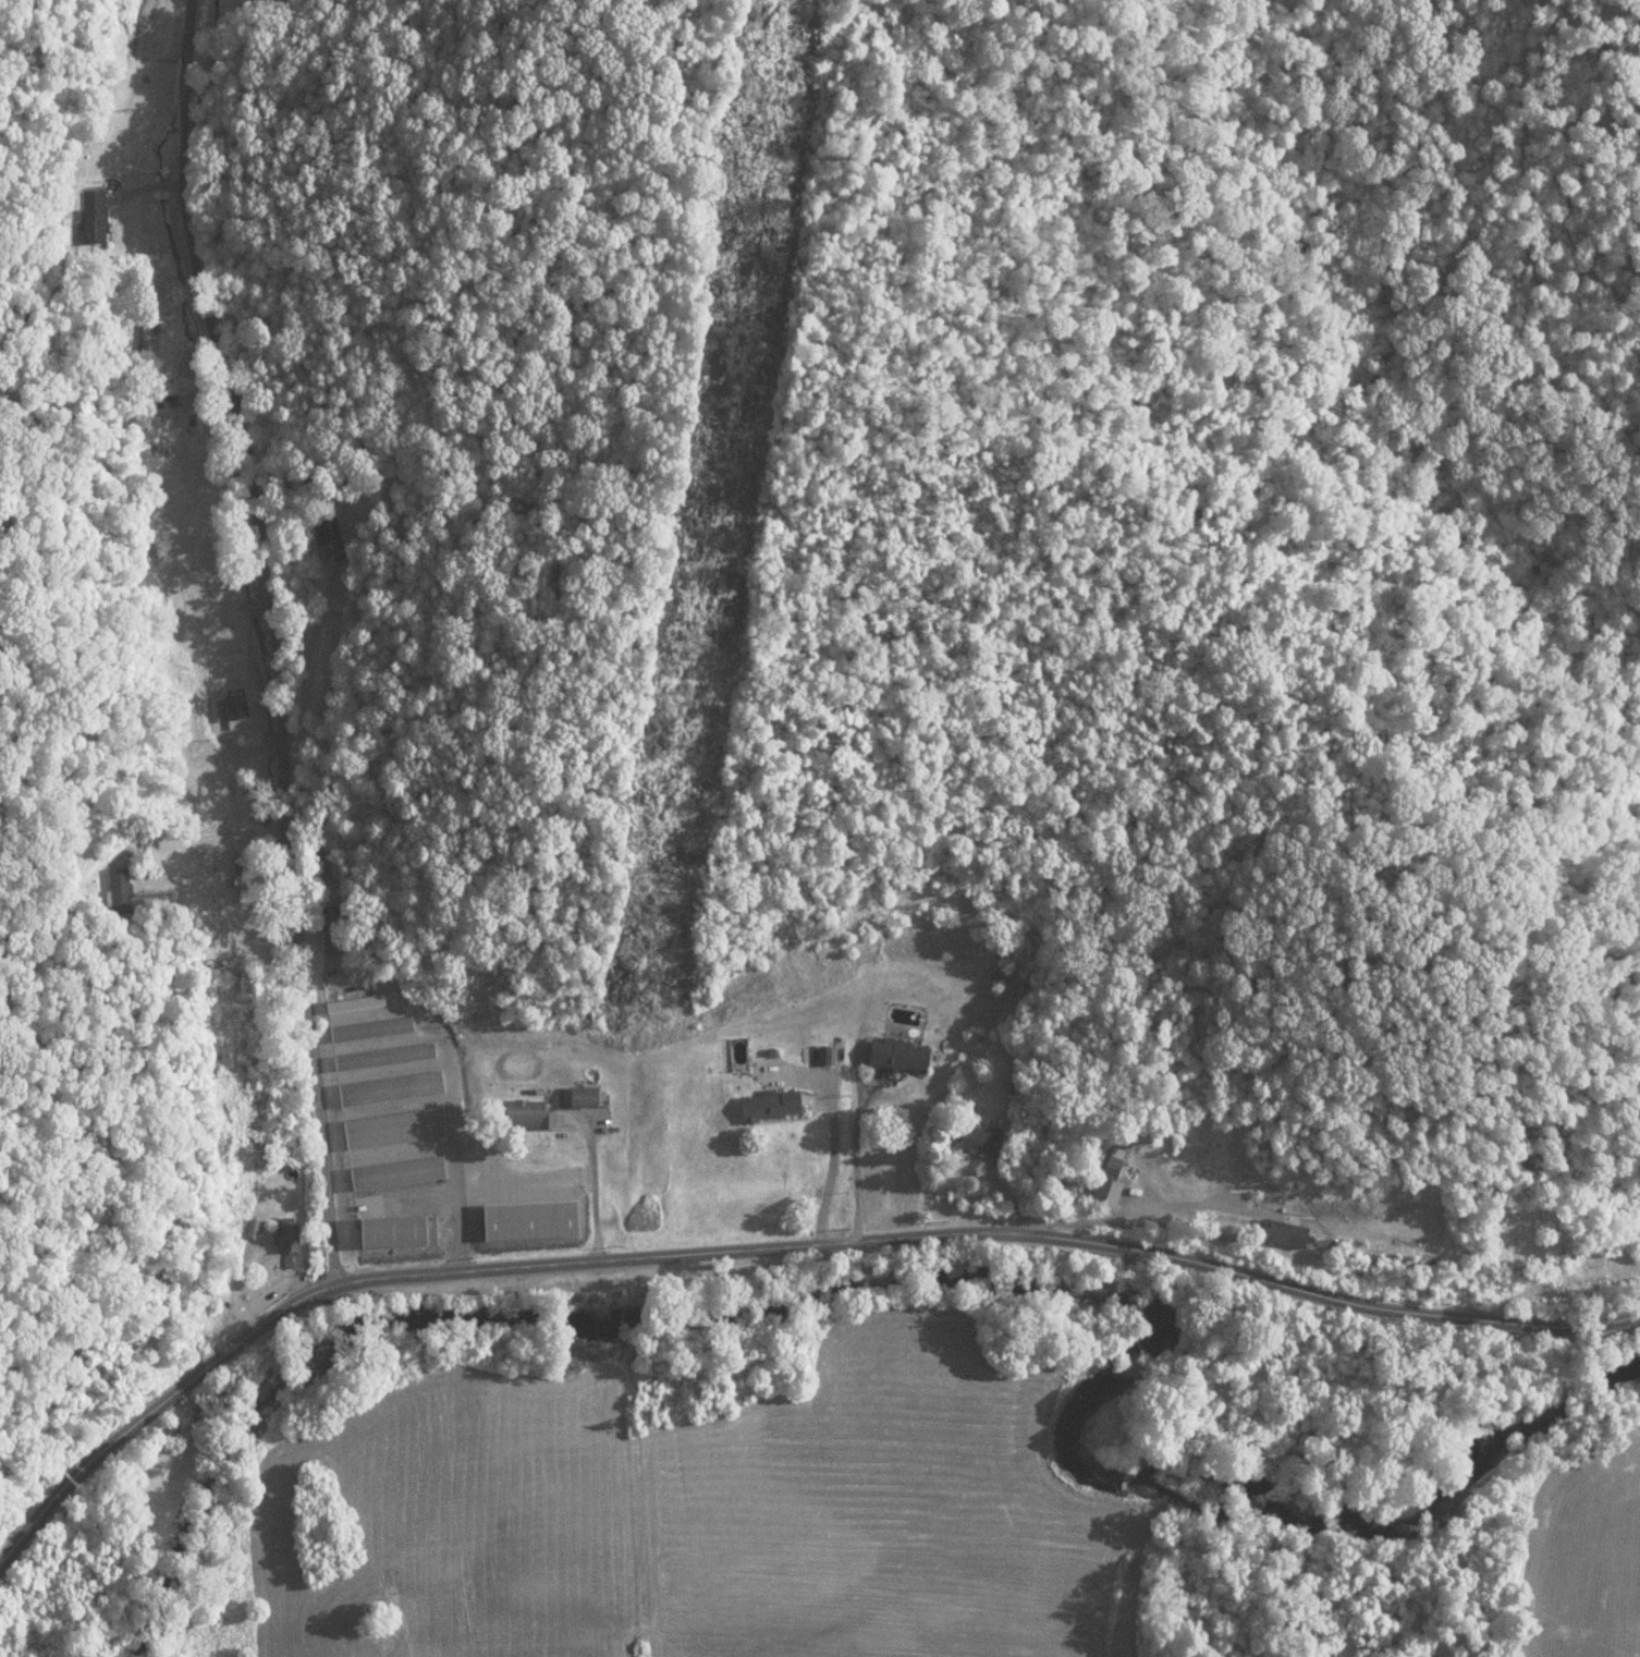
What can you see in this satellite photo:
power tower: (771, 163)
building: (328, 545)
road: (212, 621)
road: (290, 637)
power tower: (698, 648)
building: (231, 708)
building: (315, 866)
building: (115, 879)
building: (327, 930)
building: (1002, 974)
building: (355, 1004)
building: (371, 1029)
building: (903, 1055)
building: (384, 1058)
building: (389, 1089)
building: (587, 1097)
building: (773, 1106)
building: (393, 1129)
building: (982, 1138)
building: (397, 1173)
building: (535, 1220)
building: (396, 1231)
building: (285, 1234)
road: (771, 1243)
building: (185, 1426)

